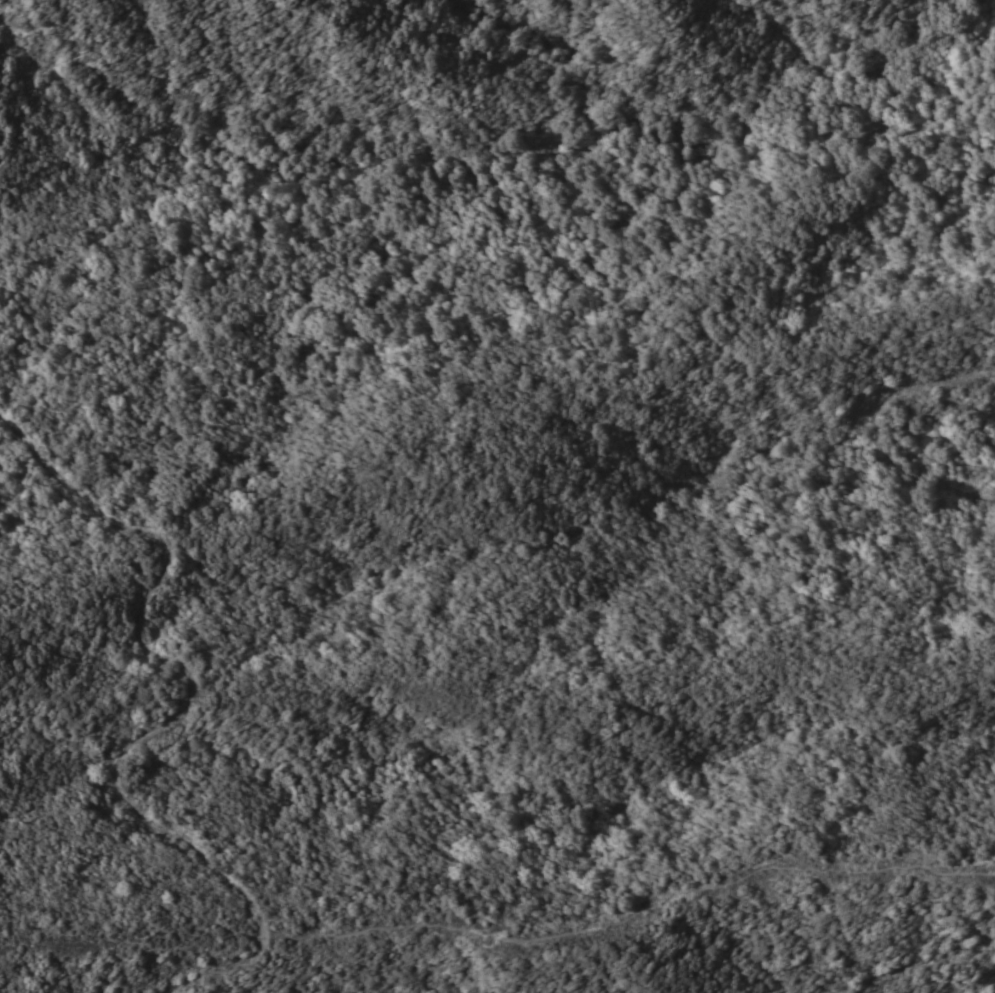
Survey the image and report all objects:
road: (180, 708)
road: (630, 917)

